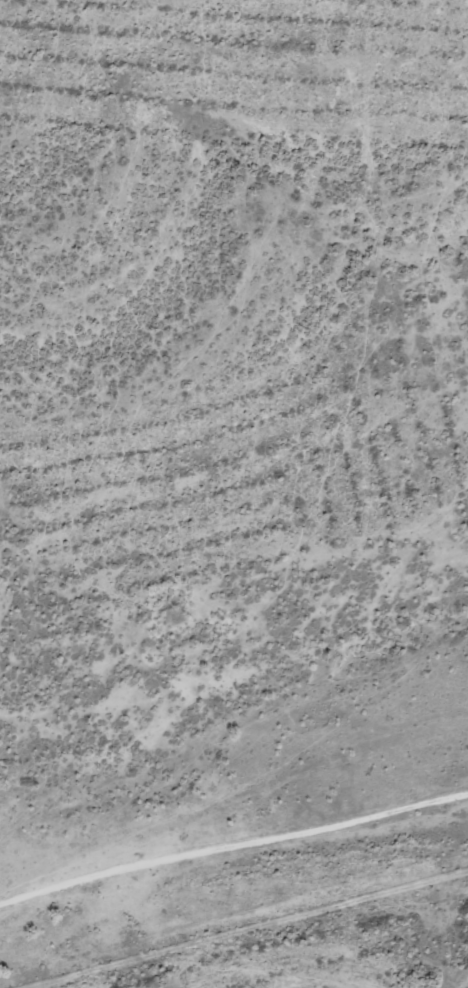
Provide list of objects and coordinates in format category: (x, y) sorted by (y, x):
road: (232, 843)
road: (78, 980)

